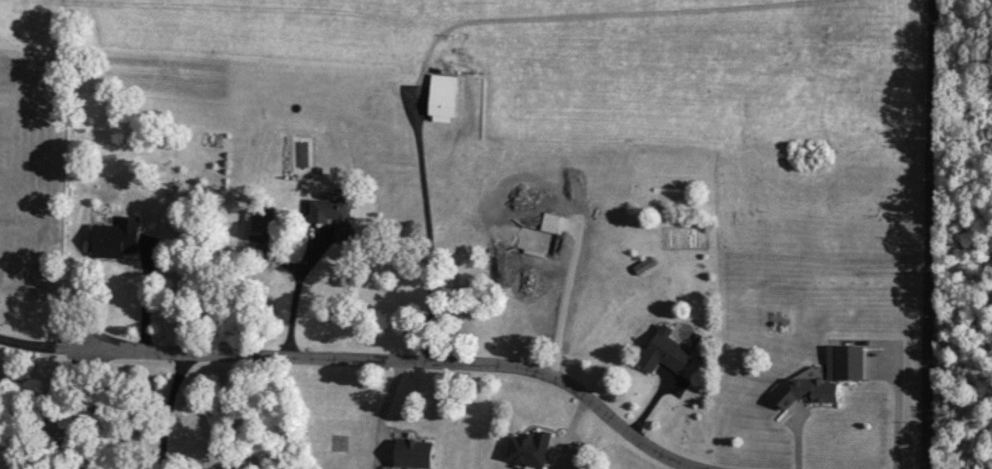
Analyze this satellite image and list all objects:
building: (444, 97)
building: (334, 215)
road: (932, 234)
building: (117, 237)
building: (641, 266)
road: (27, 342)
building: (667, 352)
road: (392, 358)
building: (839, 361)
building: (531, 447)
building: (416, 452)

